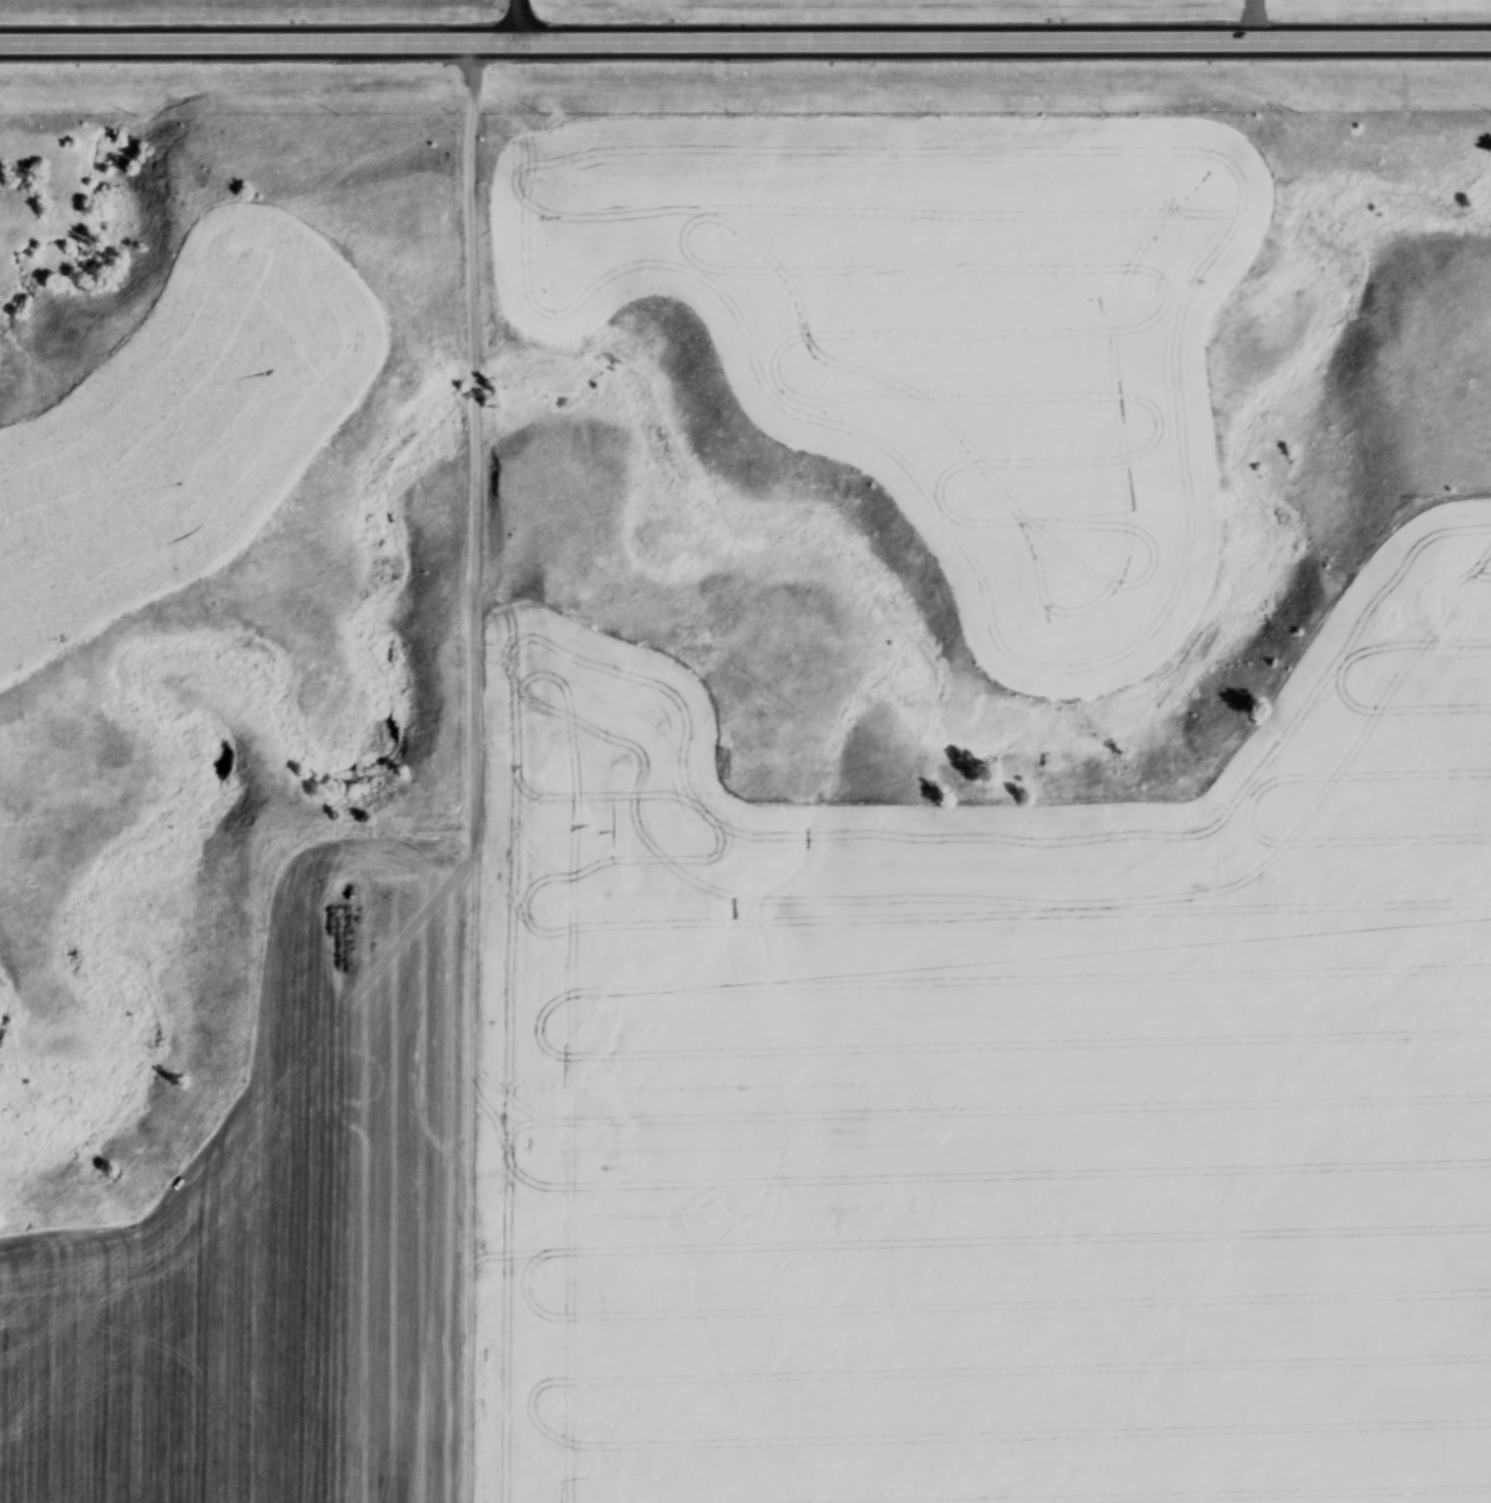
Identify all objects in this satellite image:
road: (522, 18)
road: (745, 39)
road: (474, 769)

